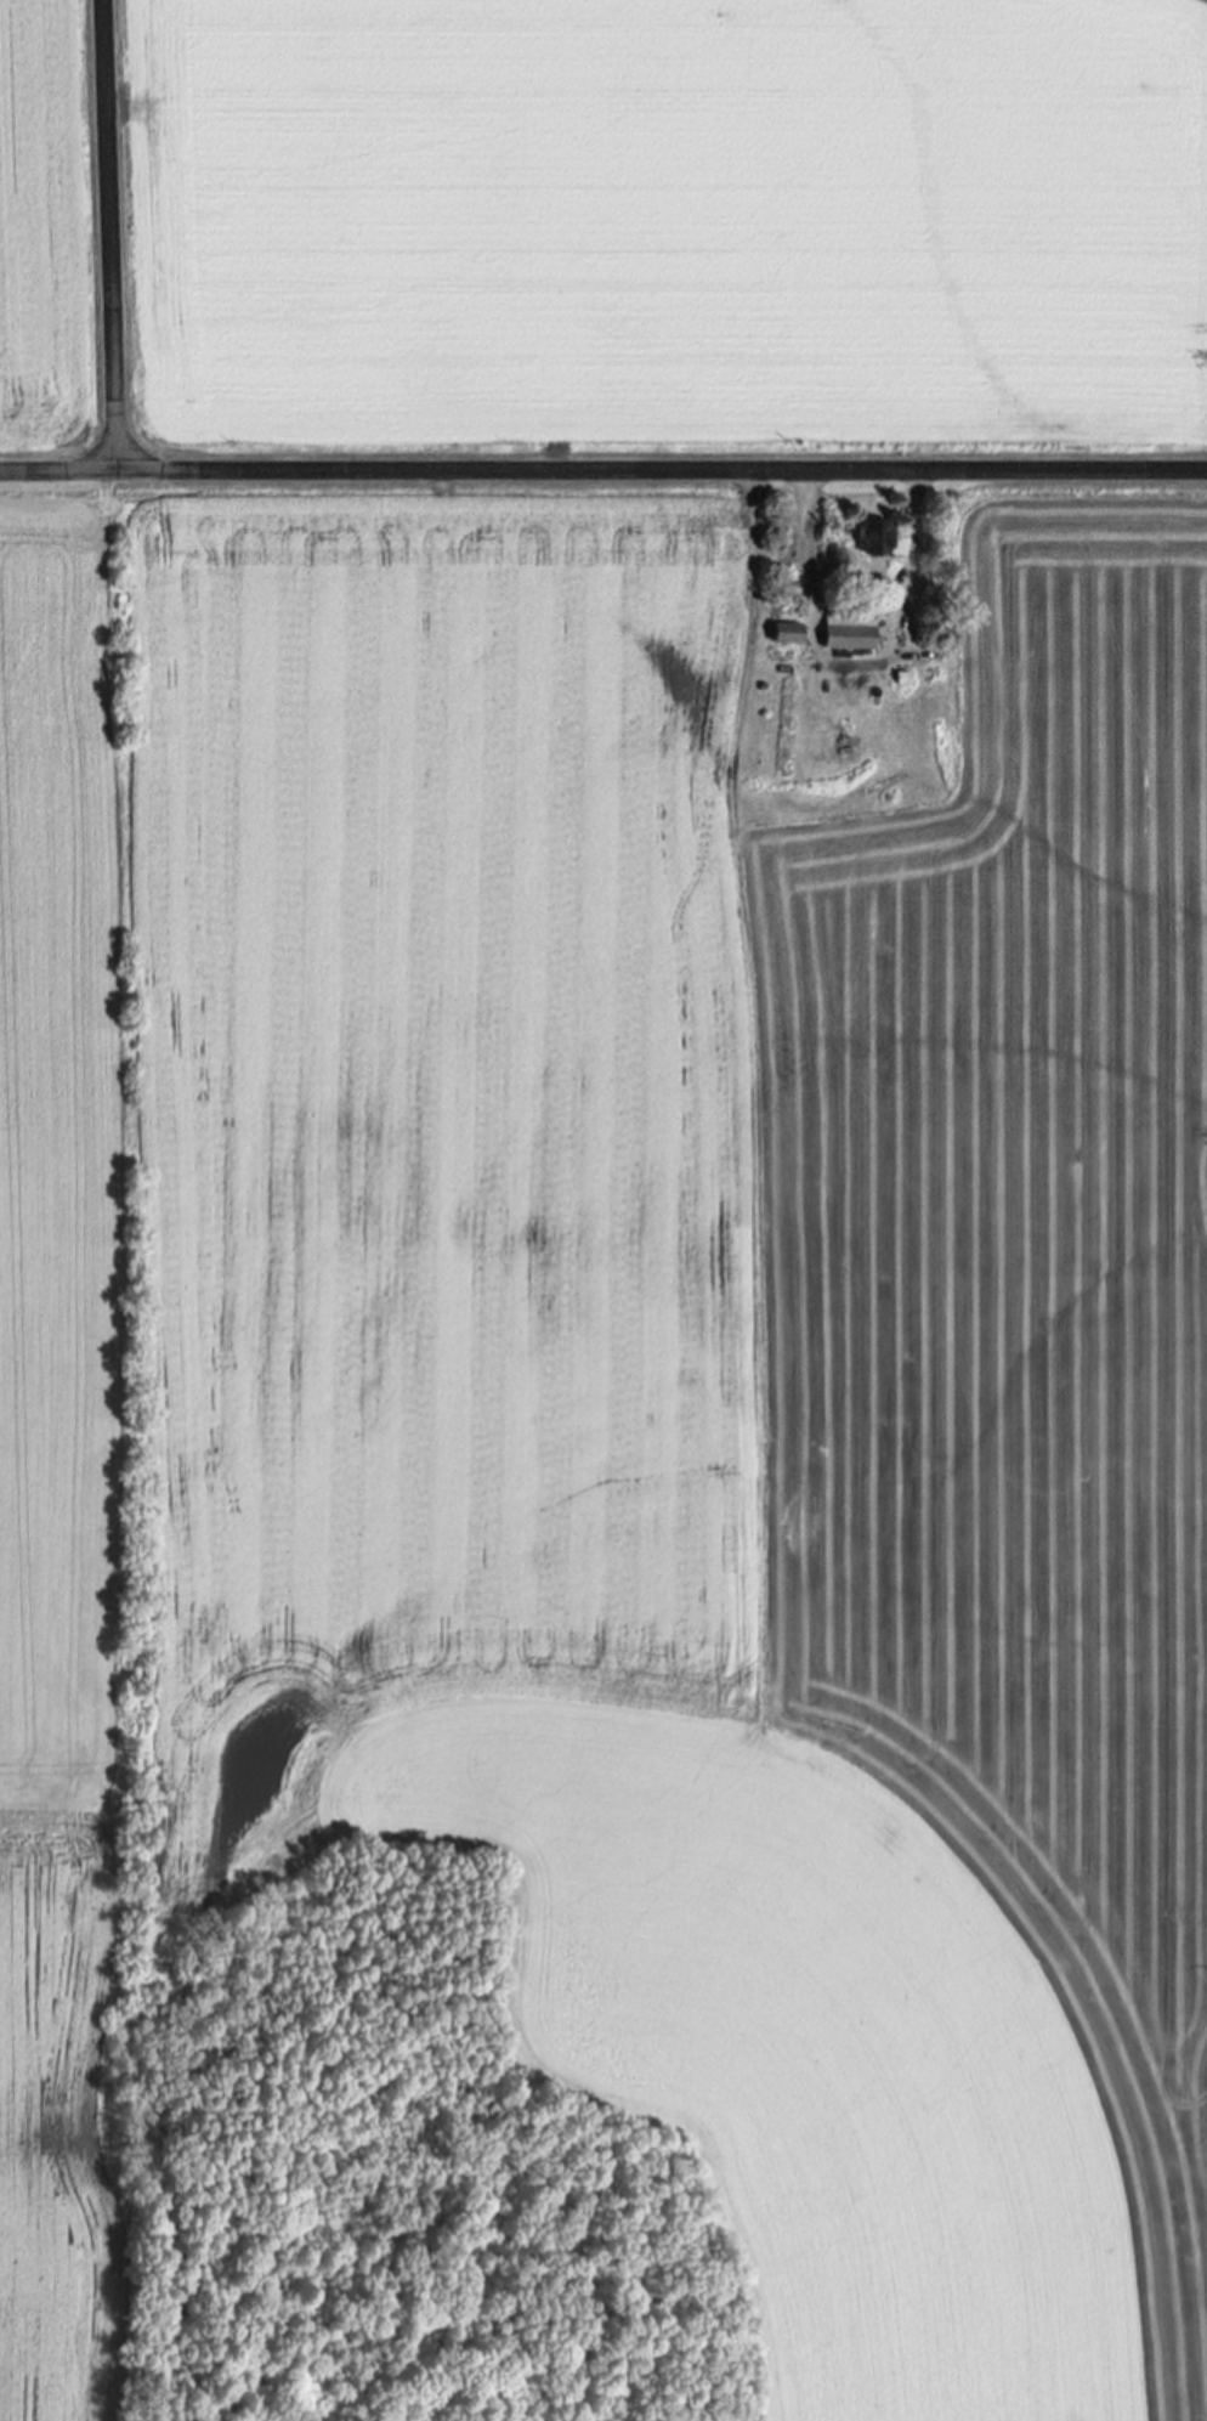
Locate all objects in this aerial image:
road: (107, 236)
road: (603, 471)
building: (878, 538)
road: (807, 584)
building: (850, 633)
building: (790, 634)
road: (823, 666)

